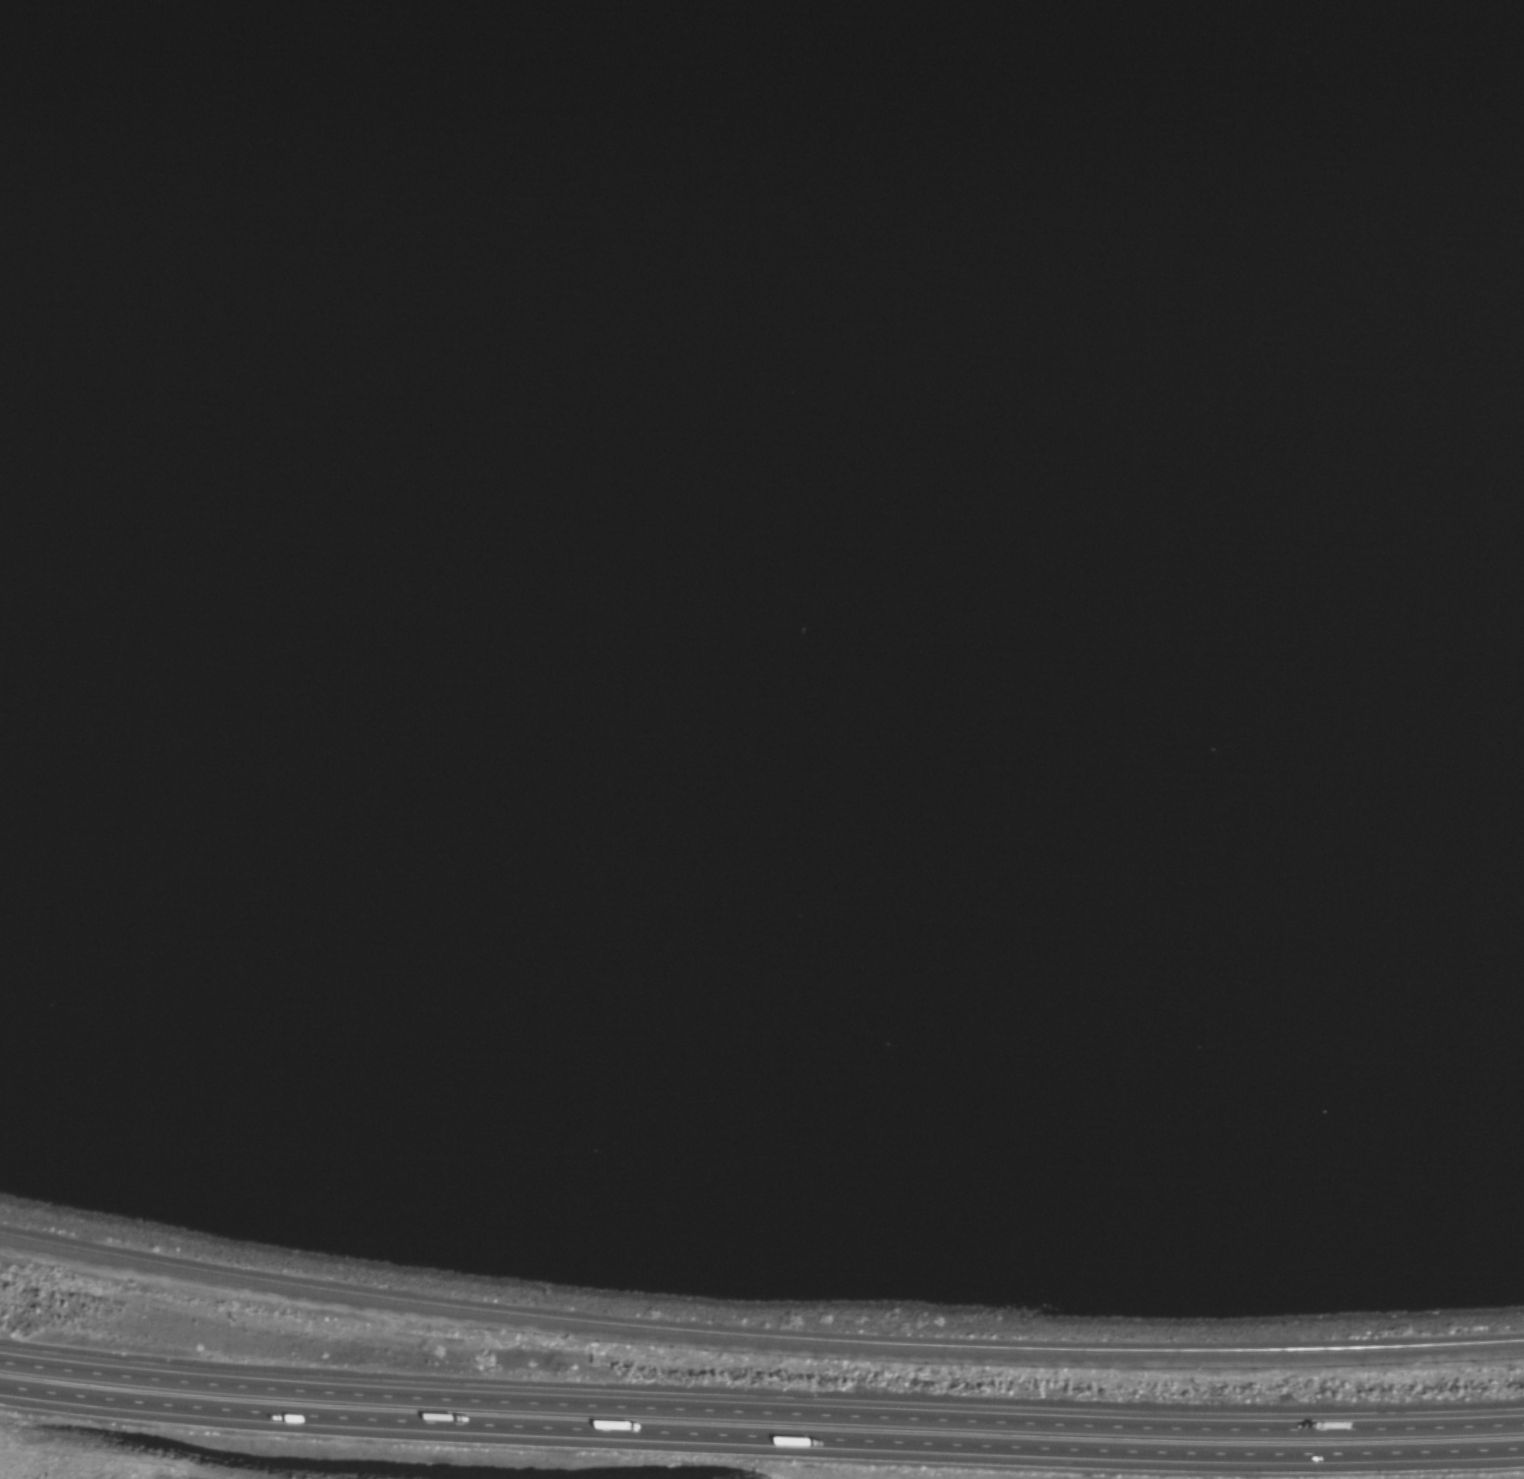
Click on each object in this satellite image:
railway: (757, 1339)
road: (760, 1414)
road: (760, 1441)

